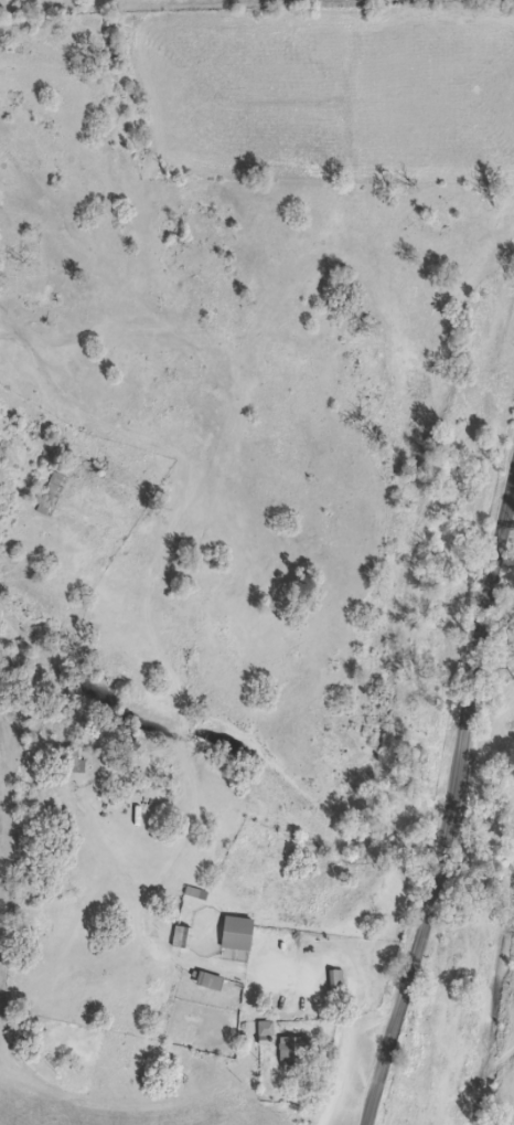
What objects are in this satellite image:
building: (75, 758)
road: (453, 811)
building: (201, 891)
building: (244, 932)
building: (186, 934)
building: (306, 1052)

